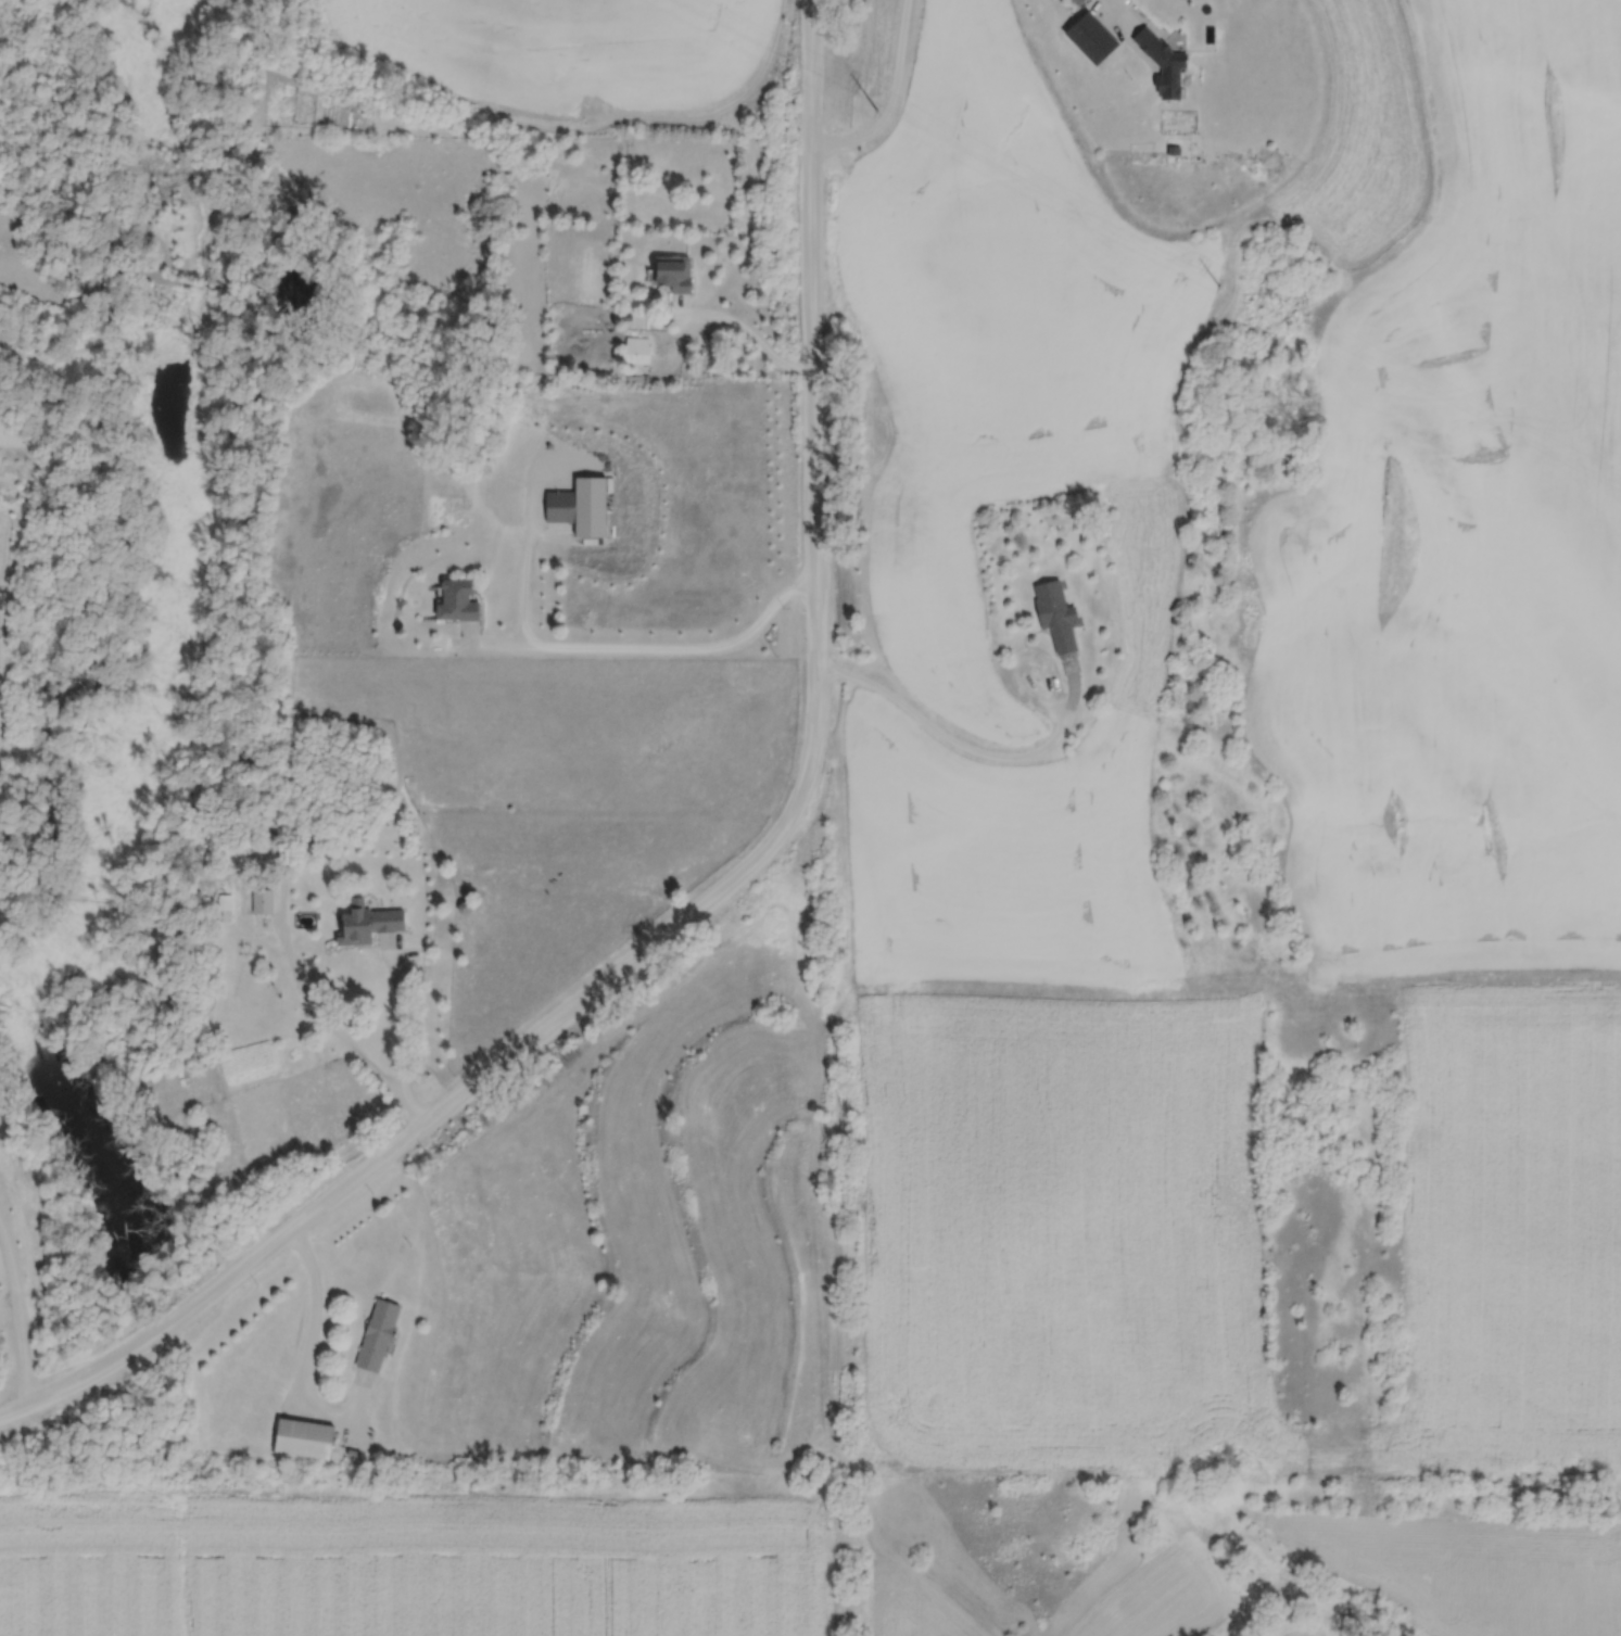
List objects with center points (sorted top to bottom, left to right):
building: (1078, 1)
road: (1113, 14)
building: (1162, 64)
road: (888, 99)
power tower: (879, 113)
building: (673, 274)
power tower: (1223, 288)
road: (744, 332)
building: (637, 351)
building: (562, 507)
road: (523, 542)
building: (456, 601)
building: (1056, 614)
road: (682, 646)
road: (965, 749)
road: (733, 884)
building: (264, 902)
building: (368, 926)
road: (402, 989)
road: (850, 1212)
road: (14, 1323)
building: (378, 1337)
road: (306, 1354)
building: (304, 1441)

